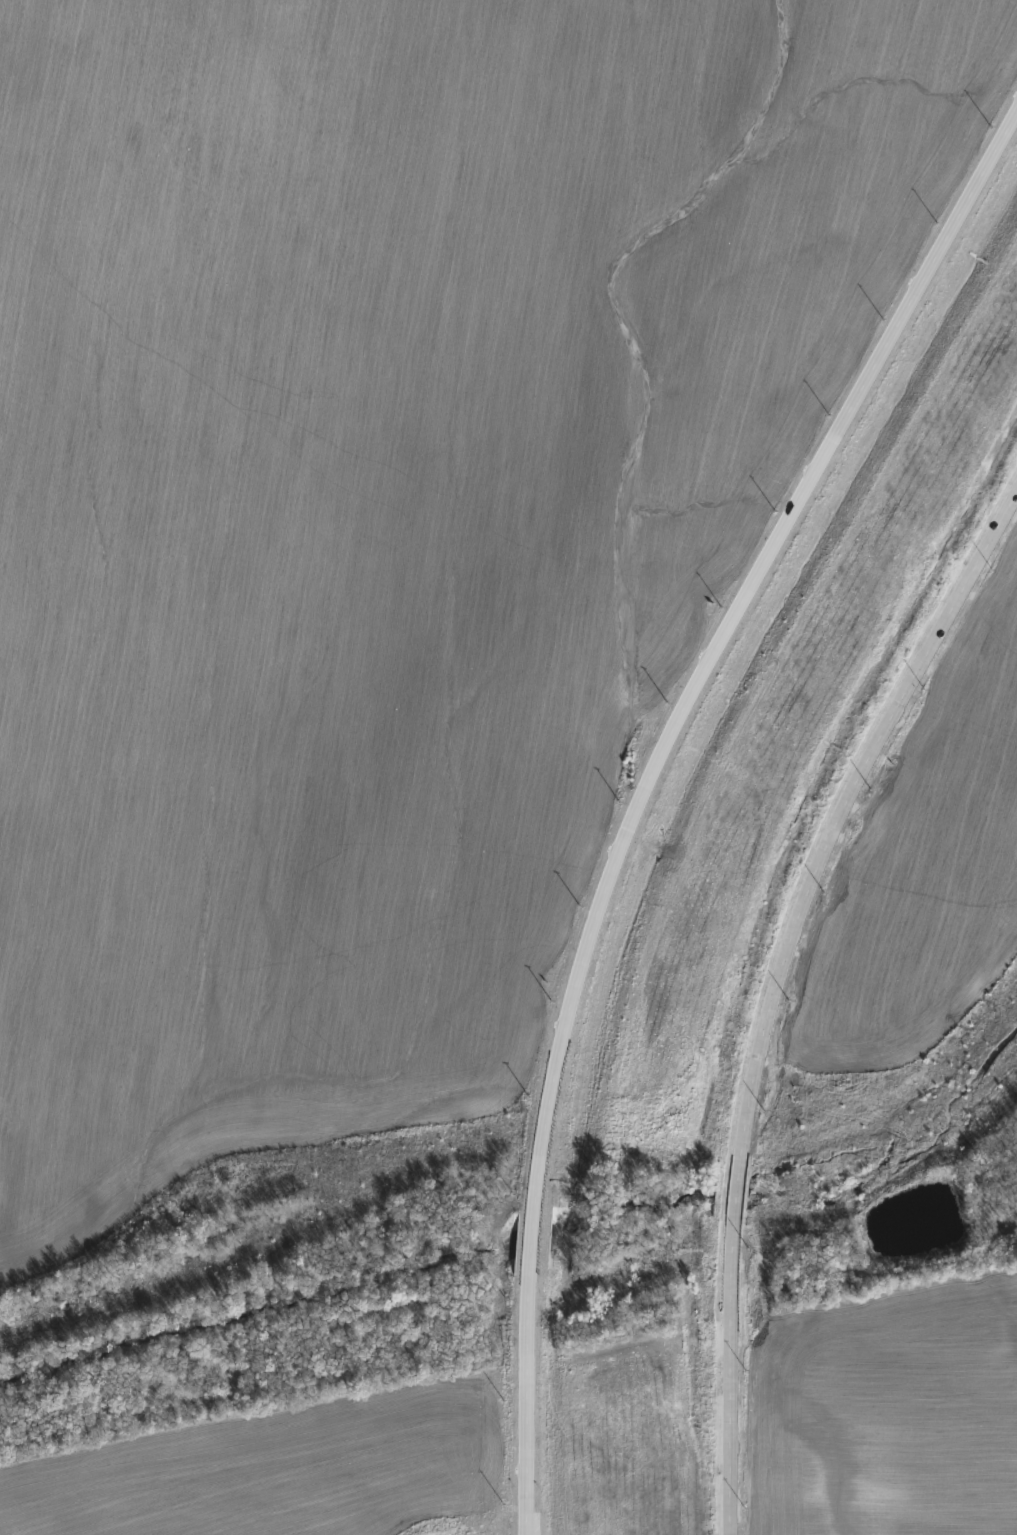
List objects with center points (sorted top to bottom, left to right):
crop: (367, 522)
road: (646, 783)
road: (774, 987)

